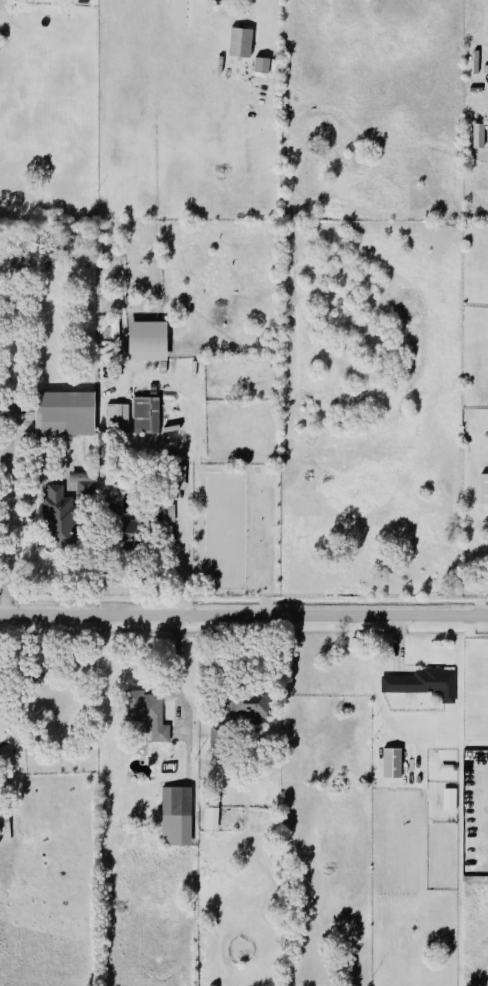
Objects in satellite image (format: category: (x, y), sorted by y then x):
building: (83, 2)
building: (238, 45)
building: (260, 67)
building: (476, 137)
building: (112, 333)
building: (146, 342)
building: (63, 416)
building: (144, 417)
building: (116, 421)
road: (4, 456)
building: (175, 479)
road: (37, 480)
building: (484, 490)
road: (9, 510)
building: (62, 514)
building: (134, 526)
road: (243, 619)
road: (179, 621)
road: (259, 662)
road: (222, 667)
building: (422, 685)
building: (247, 705)
building: (145, 715)
road: (2, 726)
building: (215, 743)
building: (390, 765)
building: (447, 769)
building: (449, 800)
building: (175, 819)
building: (209, 821)
building: (4, 829)

